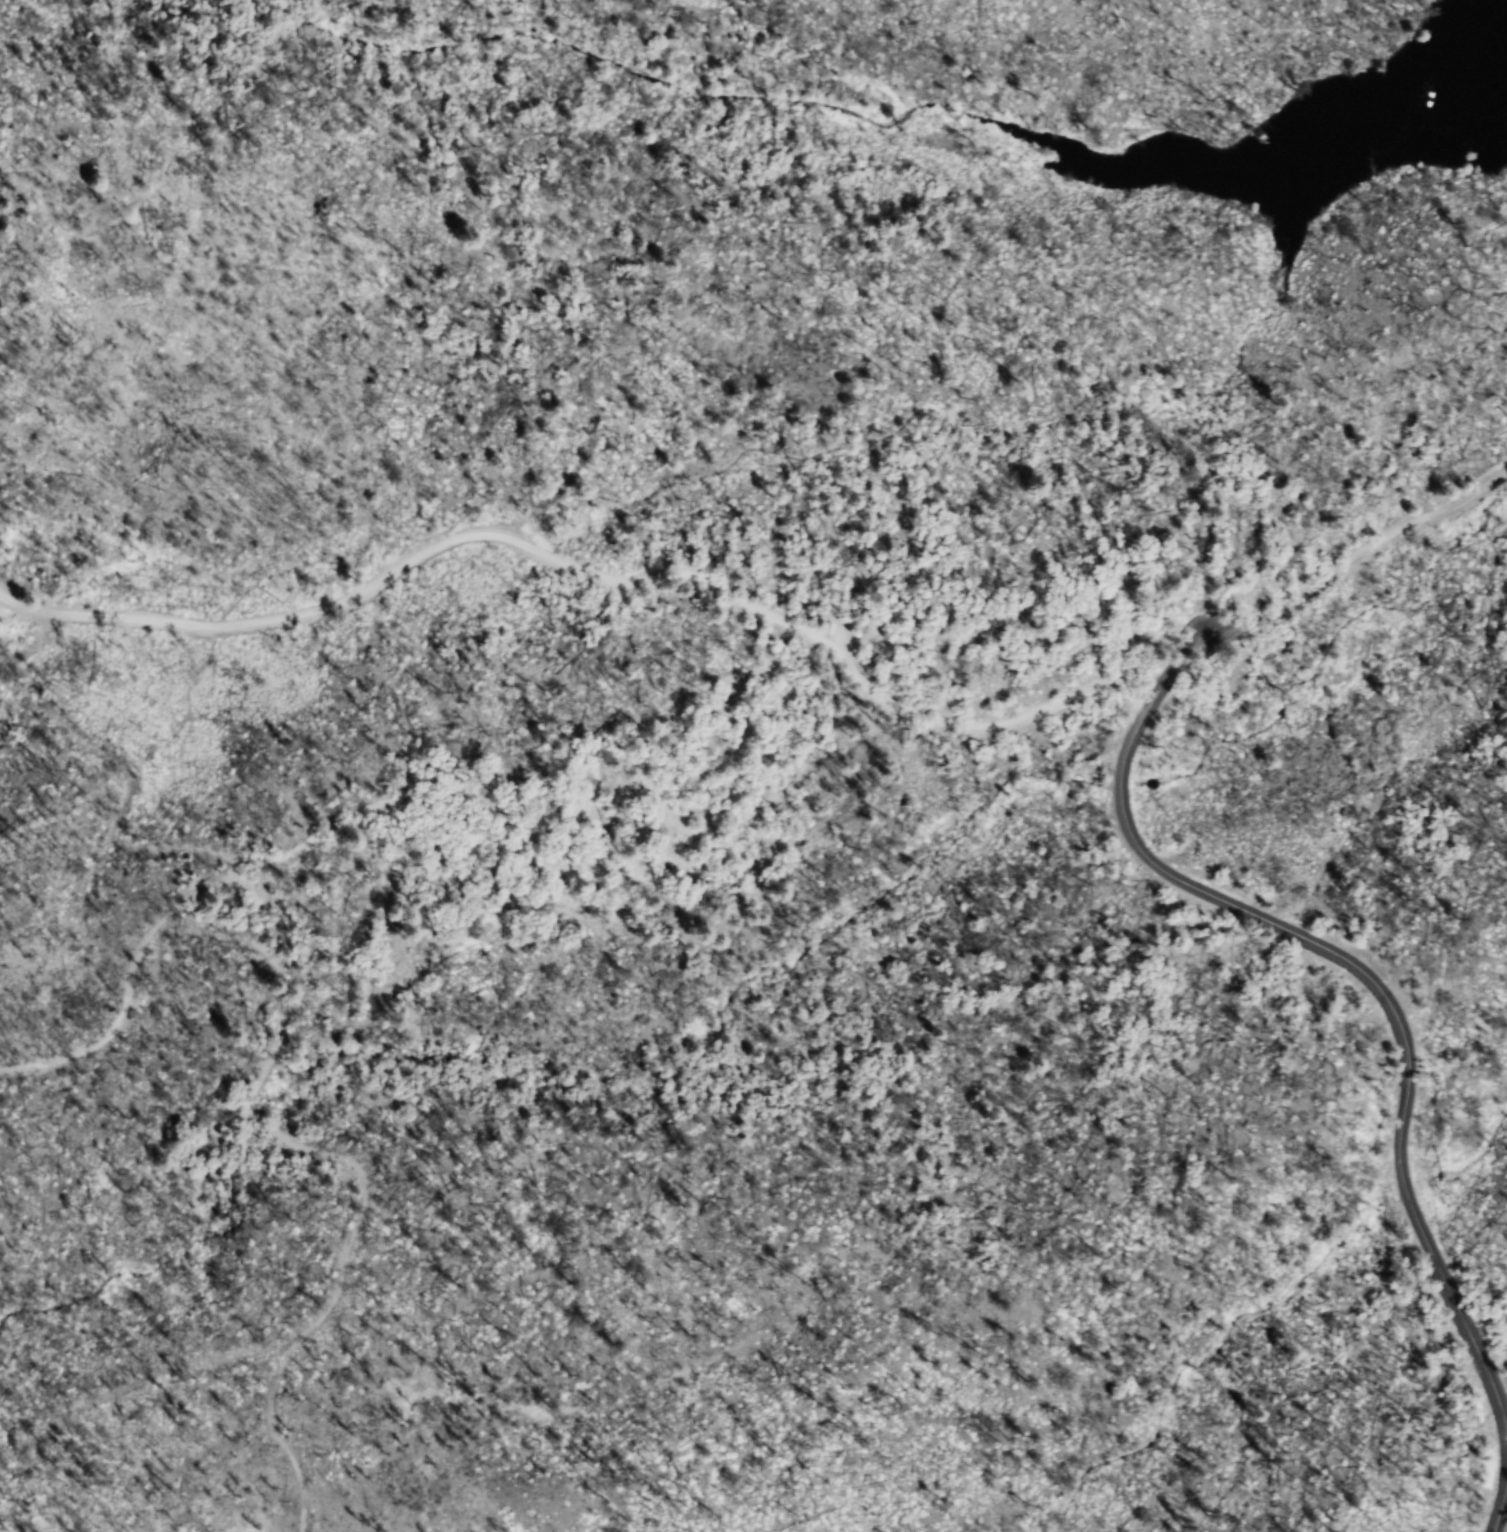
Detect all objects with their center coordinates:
road: (583, 568)
road: (1325, 583)
road: (1387, 987)
road: (1502, 1515)

